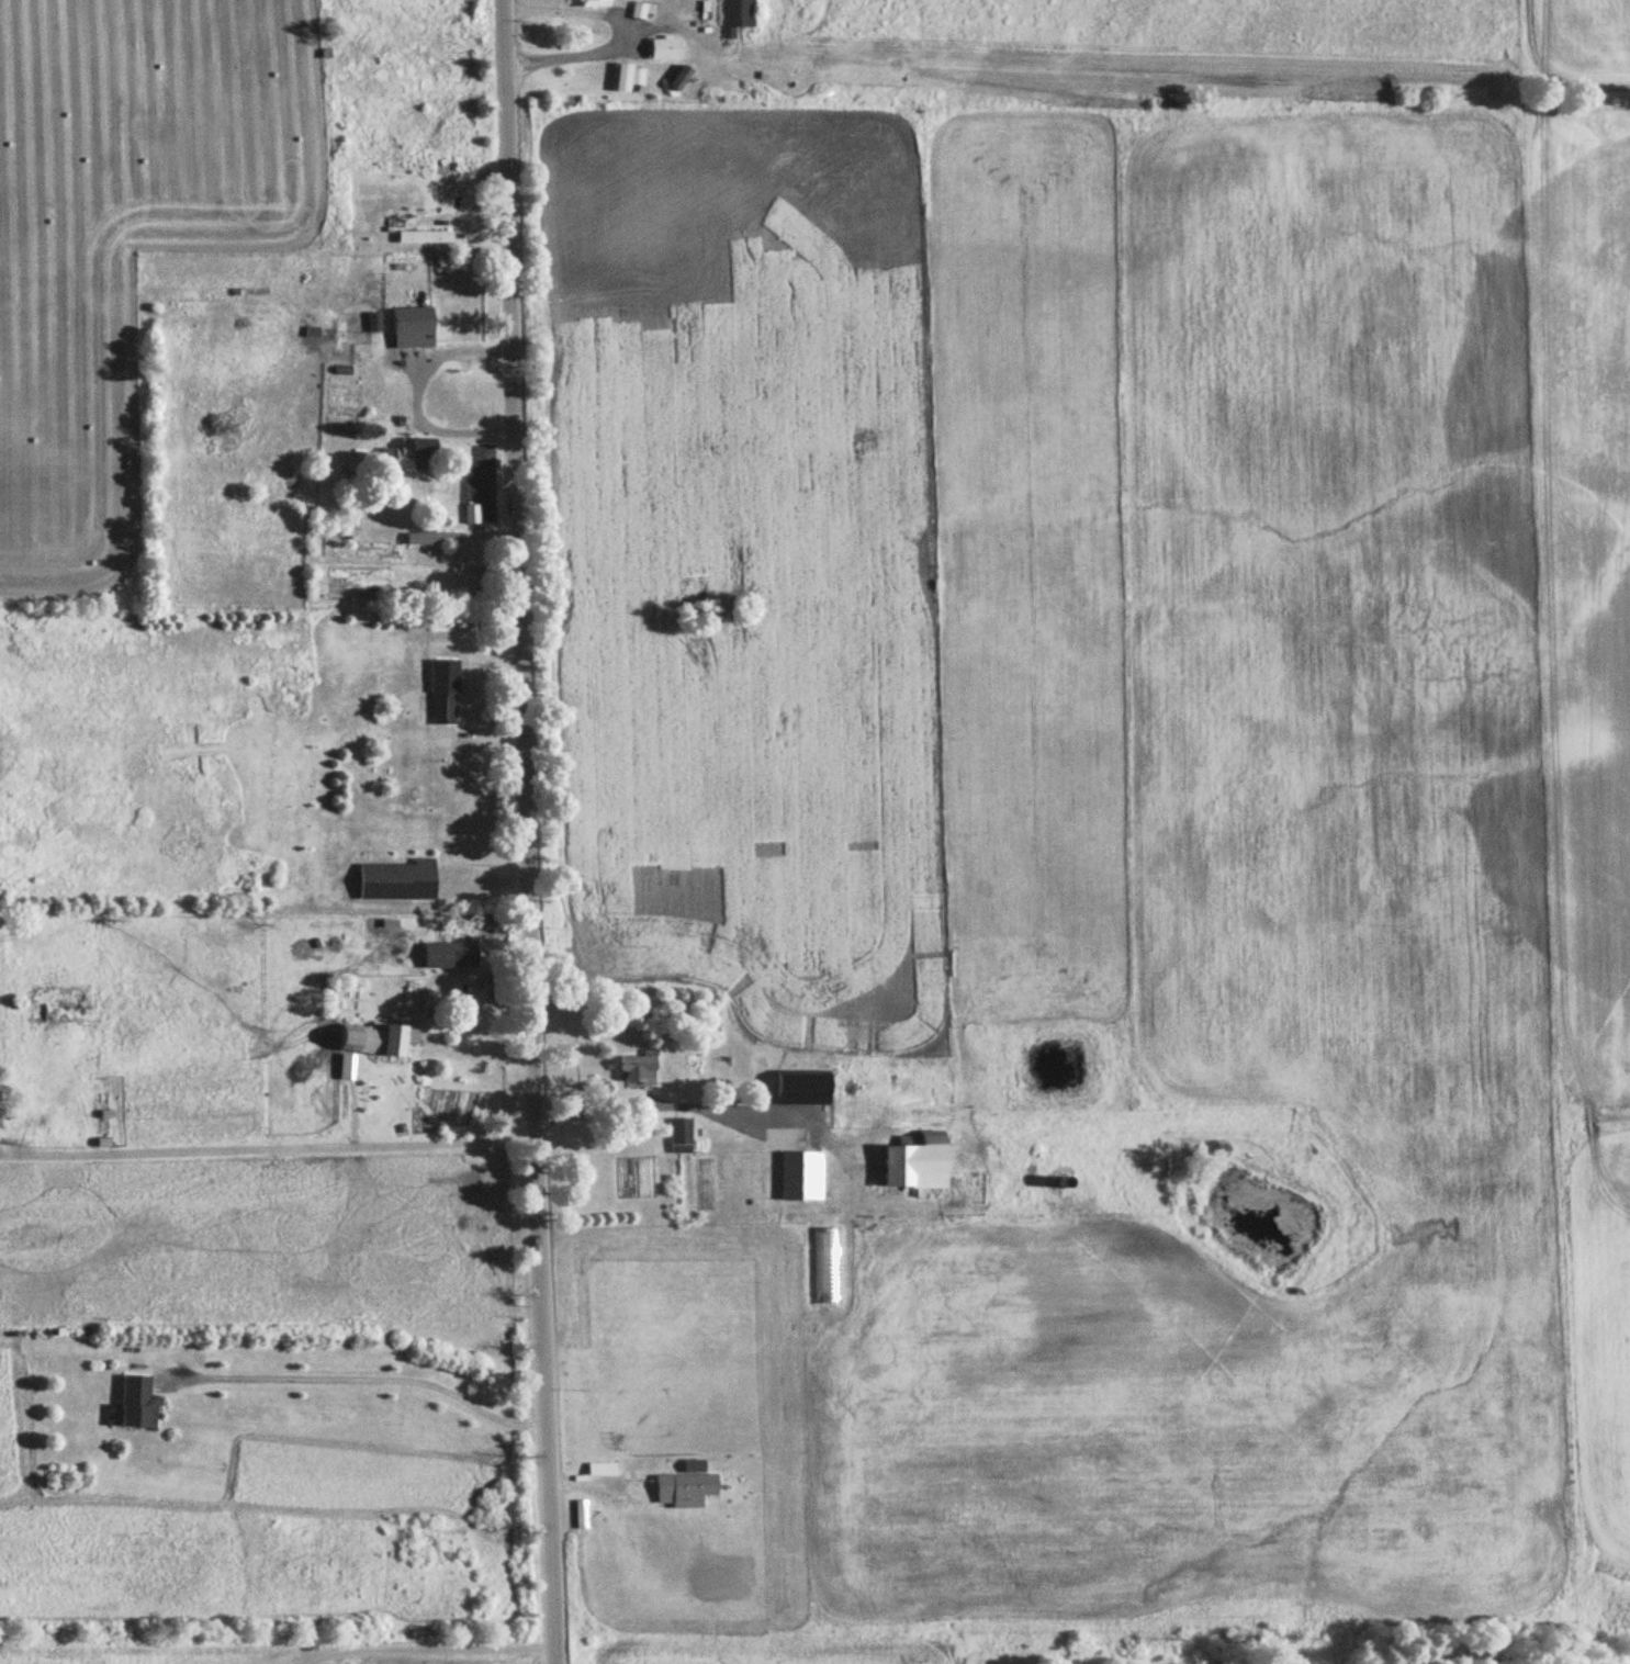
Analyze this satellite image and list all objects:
building: (594, 3)
building: (705, 13)
building: (737, 15)
building: (663, 48)
building: (620, 76)
building: (638, 77)
building: (678, 78)
building: (457, 273)
building: (374, 322)
building: (414, 324)
building: (415, 453)
building: (432, 538)
building: (445, 692)
road: (527, 832)
building: (397, 880)
building: (448, 956)
building: (386, 1045)
building: (636, 1068)
building: (756, 1075)
building: (799, 1087)
building: (848, 1106)
road: (712, 1111)
building: (427, 1127)
building: (681, 1134)
parking lot: (786, 1137)
road: (857, 1138)
road: (268, 1149)
building: (910, 1161)
building: (800, 1173)
road: (361, 1378)
building: (135, 1401)
building: (602, 1469)
building: (687, 1484)
building: (581, 1515)

